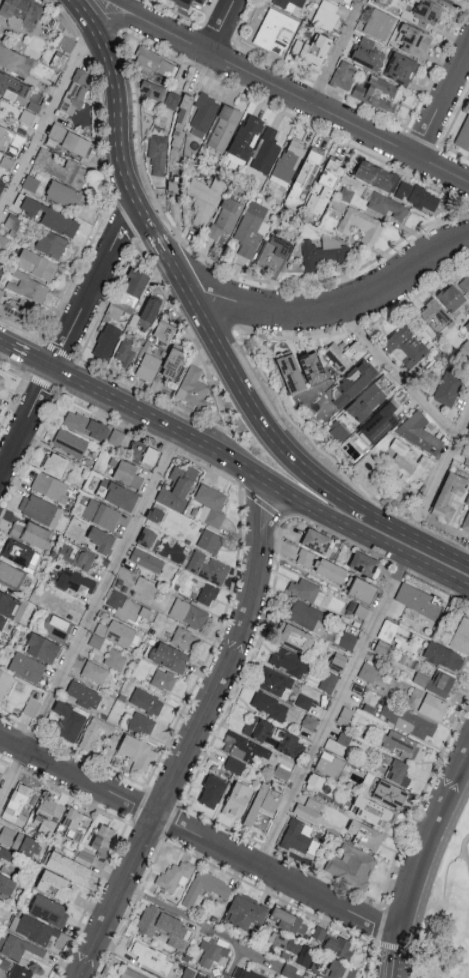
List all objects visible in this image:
building: (343, 0)
building: (436, 0)
building: (200, 1)
building: (444, 1)
building: (183, 2)
building: (291, 3)
building: (382, 3)
building: (21, 10)
road: (83, 13)
road: (135, 13)
building: (326, 14)
building: (423, 14)
road: (126, 21)
road: (220, 26)
building: (379, 26)
road: (94, 28)
road: (182, 40)
building: (413, 41)
building: (65, 42)
building: (312, 50)
road: (337, 52)
building: (367, 54)
building: (15, 61)
building: (154, 64)
building: (400, 70)
building: (342, 78)
building: (12, 87)
building: (75, 90)
building: (374, 91)
building: (161, 96)
building: (0, 99)
road: (442, 102)
building: (203, 113)
building: (182, 118)
road: (338, 118)
road: (46, 119)
building: (221, 132)
building: (463, 136)
building: (245, 139)
building: (68, 141)
building: (14, 144)
road: (120, 144)
building: (157, 153)
building: (266, 153)
building: (43, 158)
building: (286, 166)
building: (76, 175)
building: (376, 178)
building: (31, 183)
building: (301, 183)
building: (1, 185)
building: (324, 190)
building: (65, 194)
building: (417, 198)
building: (204, 200)
building: (375, 204)
building: (50, 217)
building: (225, 218)
building: (359, 226)
building: (249, 232)
building: (51, 244)
building: (321, 253)
building: (272, 255)
building: (37, 265)
building: (0, 271)
building: (464, 285)
building: (27, 290)
building: (126, 297)
building: (451, 299)
road: (330, 306)
building: (19, 314)
building: (144, 316)
building: (436, 317)
building: (467, 327)
building: (164, 332)
road: (69, 342)
road: (4, 343)
building: (106, 344)
building: (405, 352)
building: (124, 354)
building: (342, 356)
building: (295, 362)
building: (147, 364)
building: (173, 364)
building: (313, 366)
road: (394, 372)
building: (1, 379)
building: (1, 383)
building: (354, 384)
building: (192, 388)
building: (448, 388)
building: (367, 400)
building: (379, 425)
building: (86, 427)
building: (419, 434)
building: (466, 435)
building: (115, 438)
road: (282, 443)
building: (70, 444)
building: (134, 456)
building: (467, 458)
building: (56, 463)
building: (407, 463)
road: (444, 463)
road: (238, 468)
building: (126, 475)
building: (51, 486)
building: (178, 490)
building: (117, 493)
building: (447, 497)
building: (467, 502)
building: (210, 506)
building: (40, 508)
building: (101, 513)
building: (156, 513)
building: (465, 524)
building: (31, 532)
building: (147, 536)
building: (101, 538)
building: (210, 540)
building: (314, 542)
building: (21, 553)
building: (77, 556)
building: (304, 559)
building: (146, 560)
building: (207, 566)
building: (363, 566)
building: (329, 572)
building: (10, 573)
building: (76, 581)
building: (307, 590)
building: (207, 593)
building: (362, 593)
building: (6, 602)
building: (416, 603)
building: (129, 607)
building: (189, 613)
building: (308, 616)
building: (2, 620)
road: (89, 620)
building: (55, 626)
building: (117, 632)
building: (461, 637)
building: (184, 638)
building: (294, 639)
building: (96, 640)
building: (348, 640)
building: (42, 647)
building: (169, 656)
building: (444, 656)
building: (115, 659)
building: (339, 661)
building: (289, 663)
building: (26, 666)
building: (94, 671)
building: (368, 671)
building: (163, 679)
building: (4, 681)
building: (275, 681)
building: (329, 681)
building: (435, 682)
building: (85, 694)
building: (147, 701)
building: (304, 701)
building: (427, 703)
building: (270, 705)
road: (333, 712)
building: (66, 720)
building: (407, 720)
building: (310, 722)
building: (142, 723)
building: (258, 727)
road: (196, 738)
building: (343, 739)
building: (291, 744)
building: (403, 744)
building: (137, 751)
building: (237, 751)
building: (330, 764)
building: (282, 772)
building: (399, 772)
building: (0, 773)
building: (315, 781)
building: (212, 791)
building: (390, 793)
building: (237, 799)
building: (265, 799)
building: (17, 804)
building: (310, 810)
building: (372, 810)
building: (47, 815)
building: (76, 824)
building: (366, 834)
road: (199, 835)
building: (300, 837)
building: (19, 841)
building: (103, 842)
road: (465, 849)
building: (6, 854)
building: (85, 854)
road: (424, 863)
building: (352, 865)
building: (68, 866)
road: (447, 869)
building: (174, 875)
building: (7, 885)
road: (431, 885)
building: (58, 886)
building: (206, 887)
building: (49, 910)
building: (246, 911)
park: (449, 918)
road: (187, 919)
building: (291, 920)
building: (164, 925)
building: (36, 929)
building: (319, 932)
building: (339, 945)
building: (17, 946)
building: (293, 947)
building: (211, 952)
building: (155, 960)
building: (20, 971)
building: (290, 971)
building: (247, 973)
building: (132, 974)
building: (201, 975)

